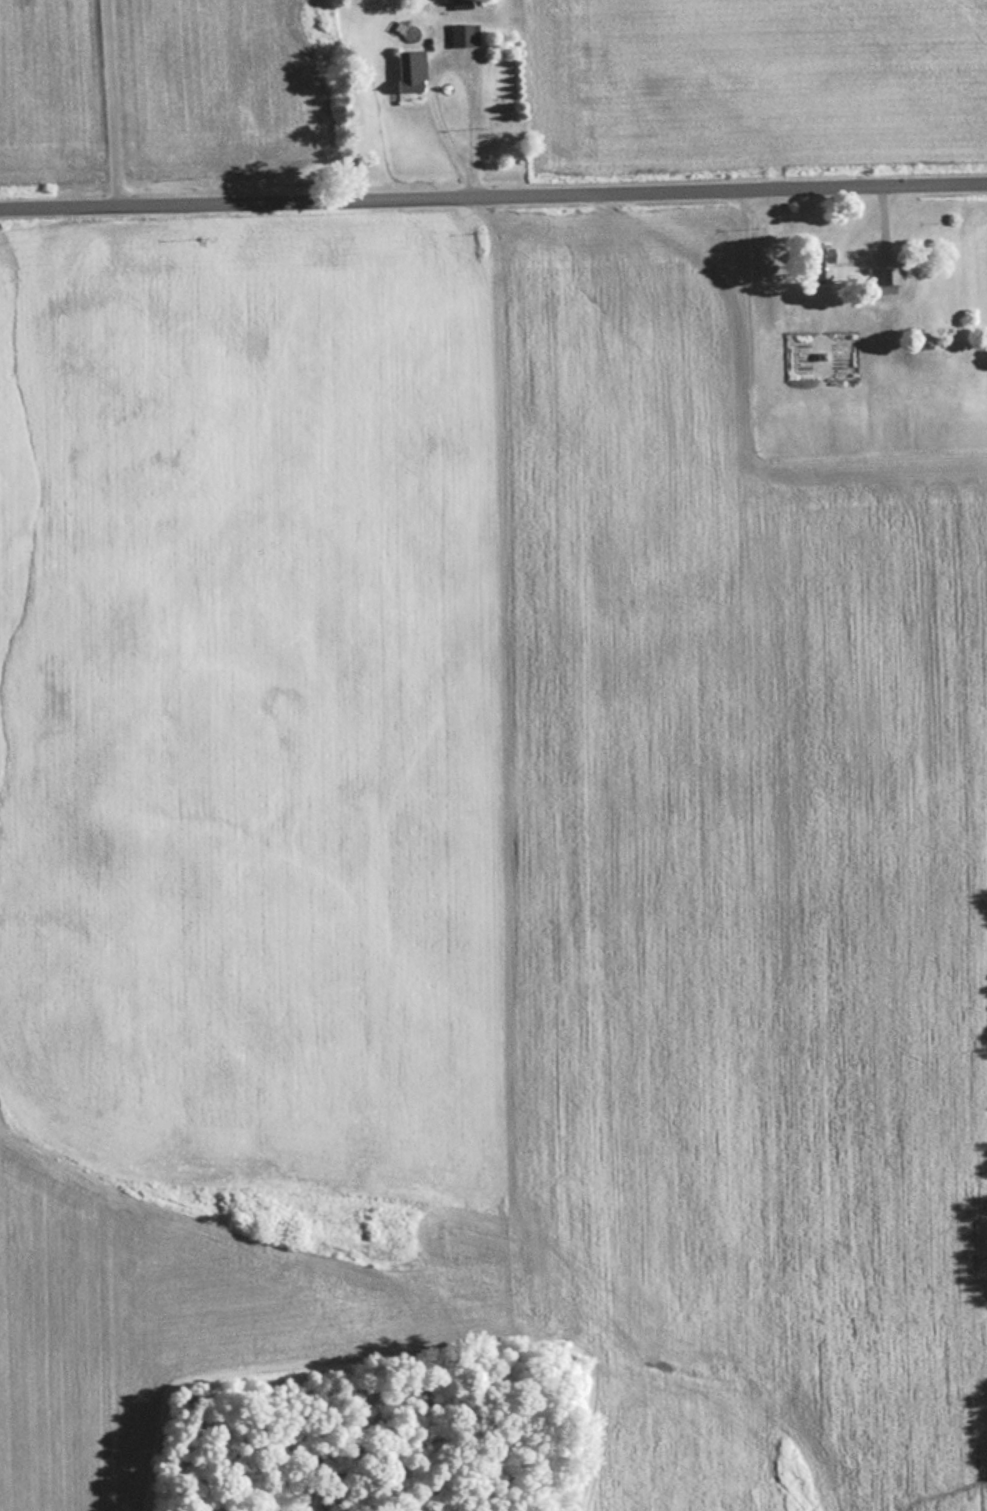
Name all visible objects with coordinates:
building: (461, 34)
road: (463, 56)
building: (407, 70)
road: (111, 104)
road: (493, 199)
building: (813, 261)
building: (882, 275)

